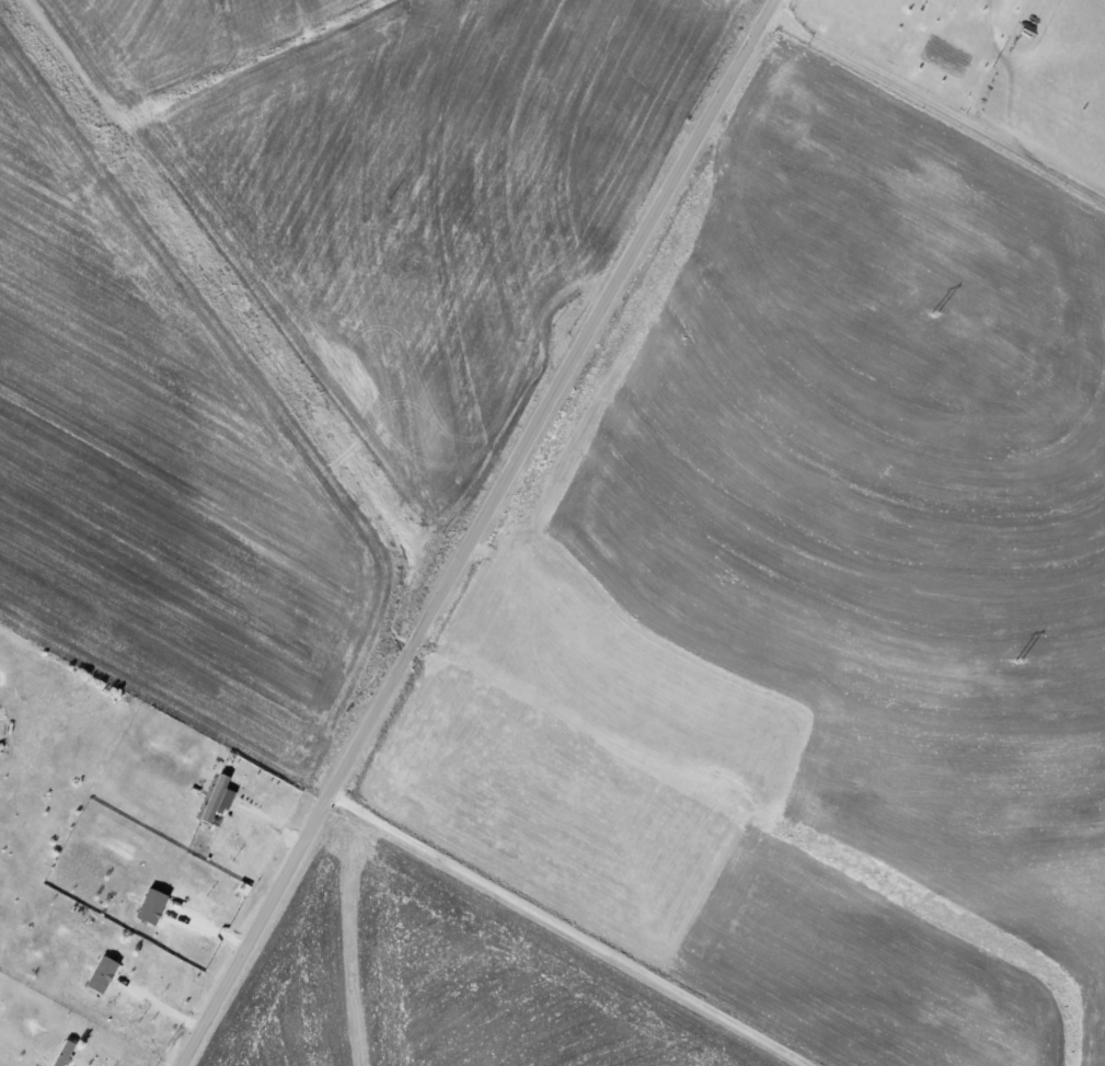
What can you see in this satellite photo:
power tower: (933, 312)
road: (477, 531)
power tower: (1018, 658)
building: (220, 800)
building: (154, 905)
road: (573, 929)
building: (104, 973)
building: (65, 1052)

